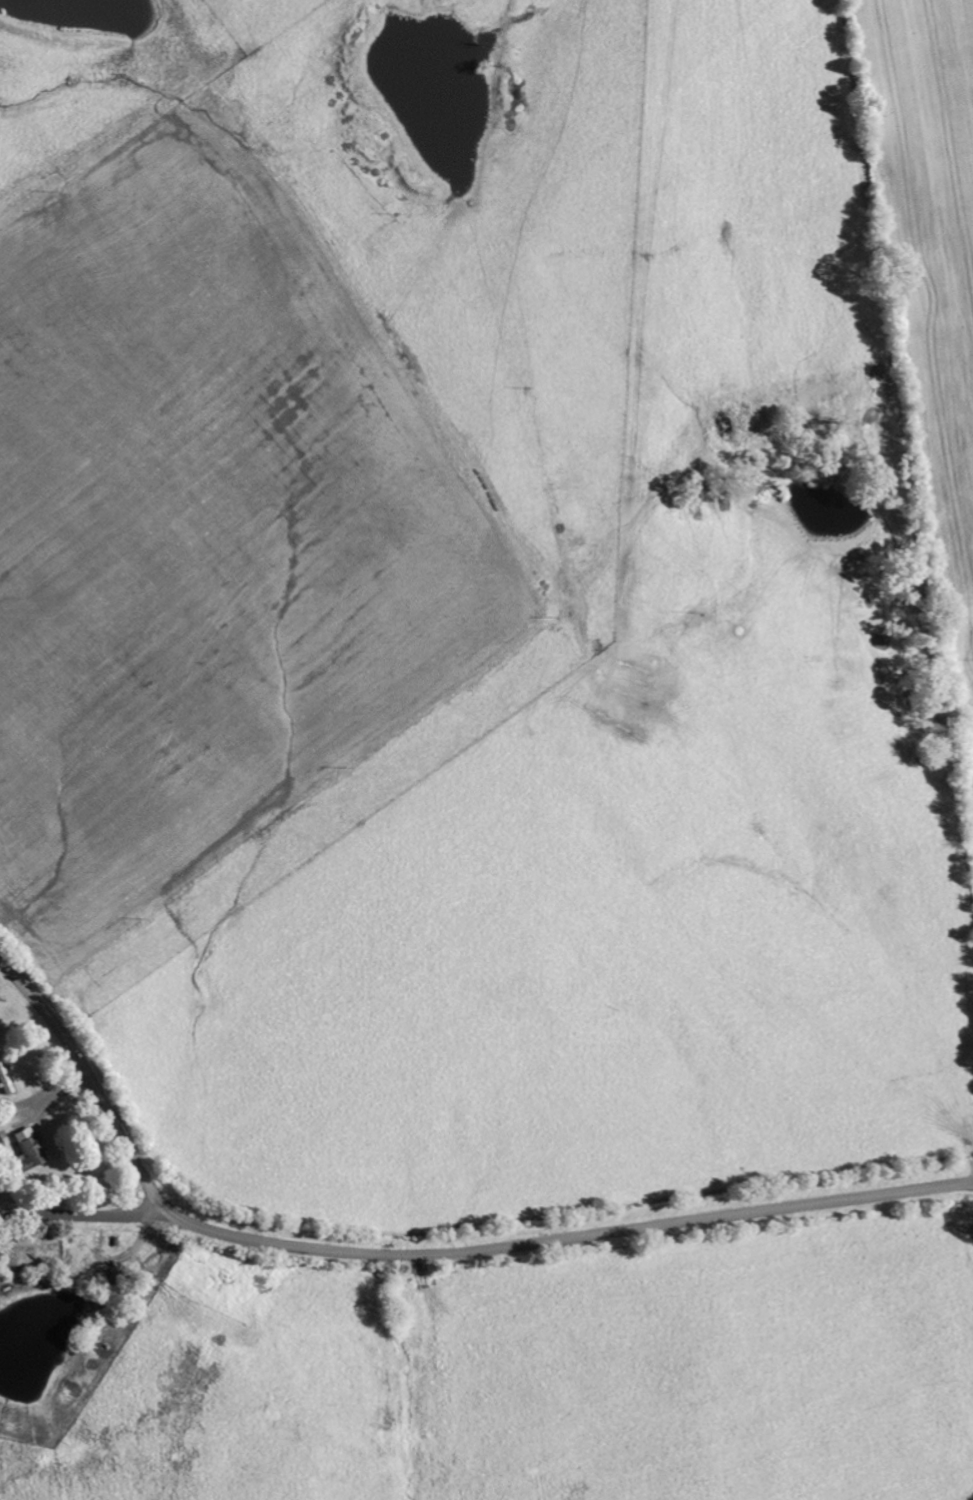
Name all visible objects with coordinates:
road: (93, 1086)
building: (26, 1150)
road: (90, 1215)
road: (575, 1238)

